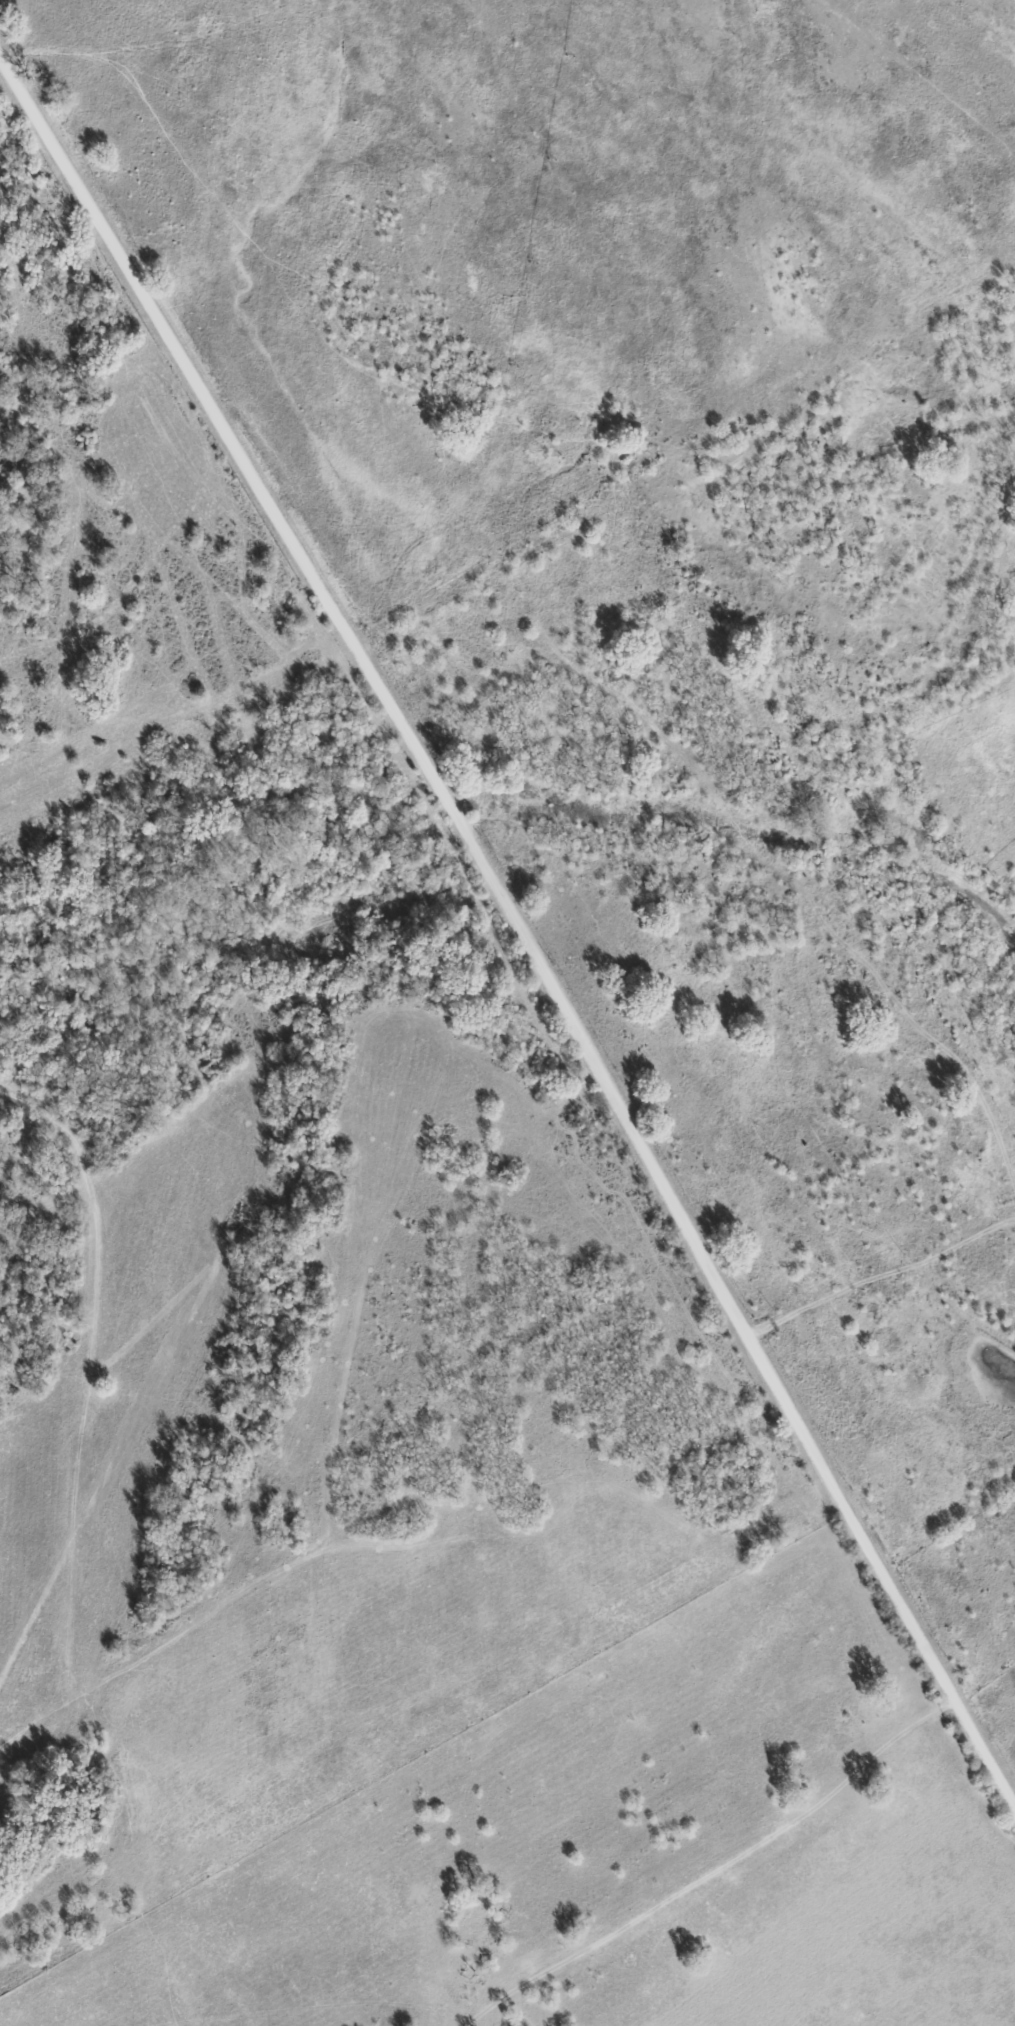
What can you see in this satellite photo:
road: (521, 914)
road: (883, 1274)

